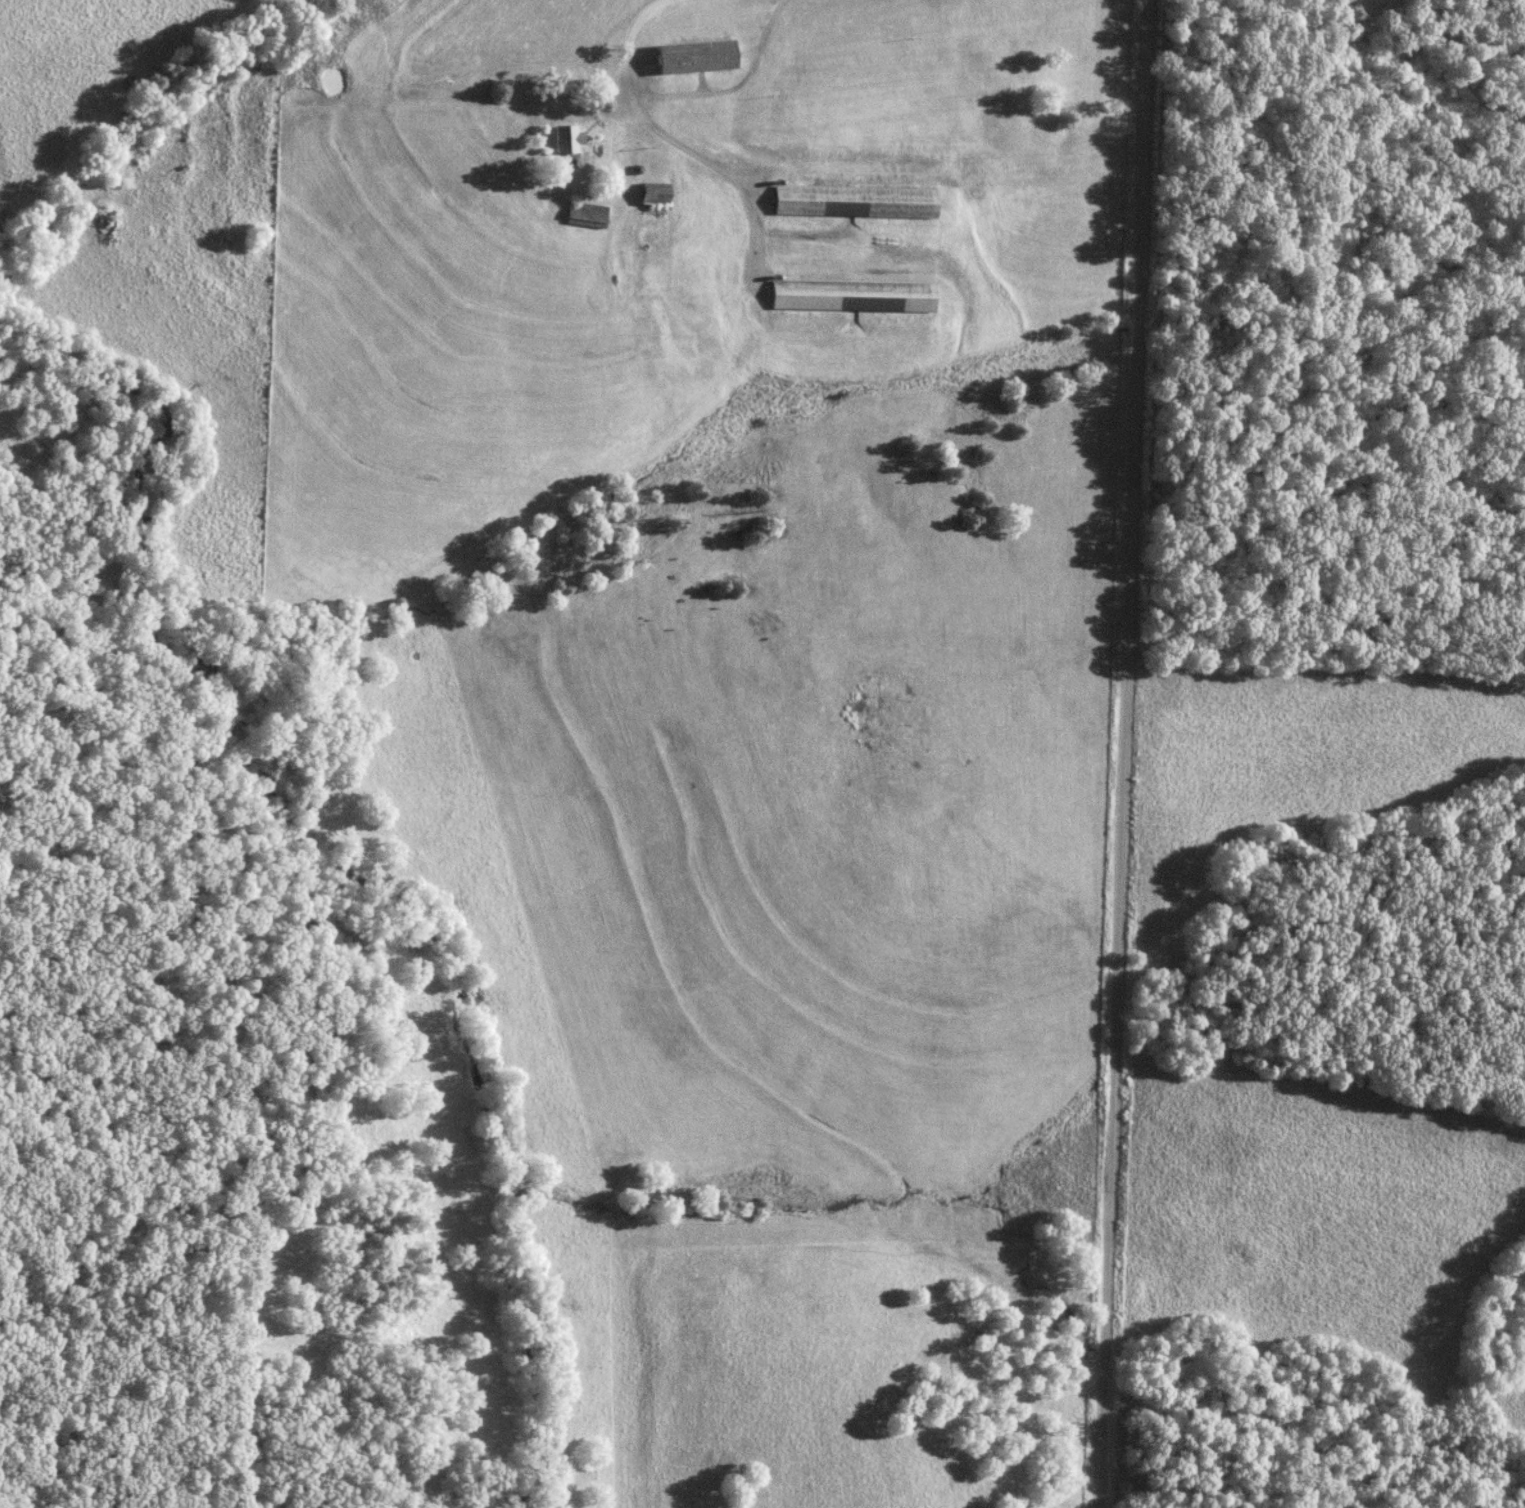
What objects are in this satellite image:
road: (1129, 44)
building: (690, 57)
road: (680, 96)
building: (559, 139)
road: (712, 169)
building: (649, 194)
building: (851, 202)
building: (849, 297)
road: (1126, 754)

